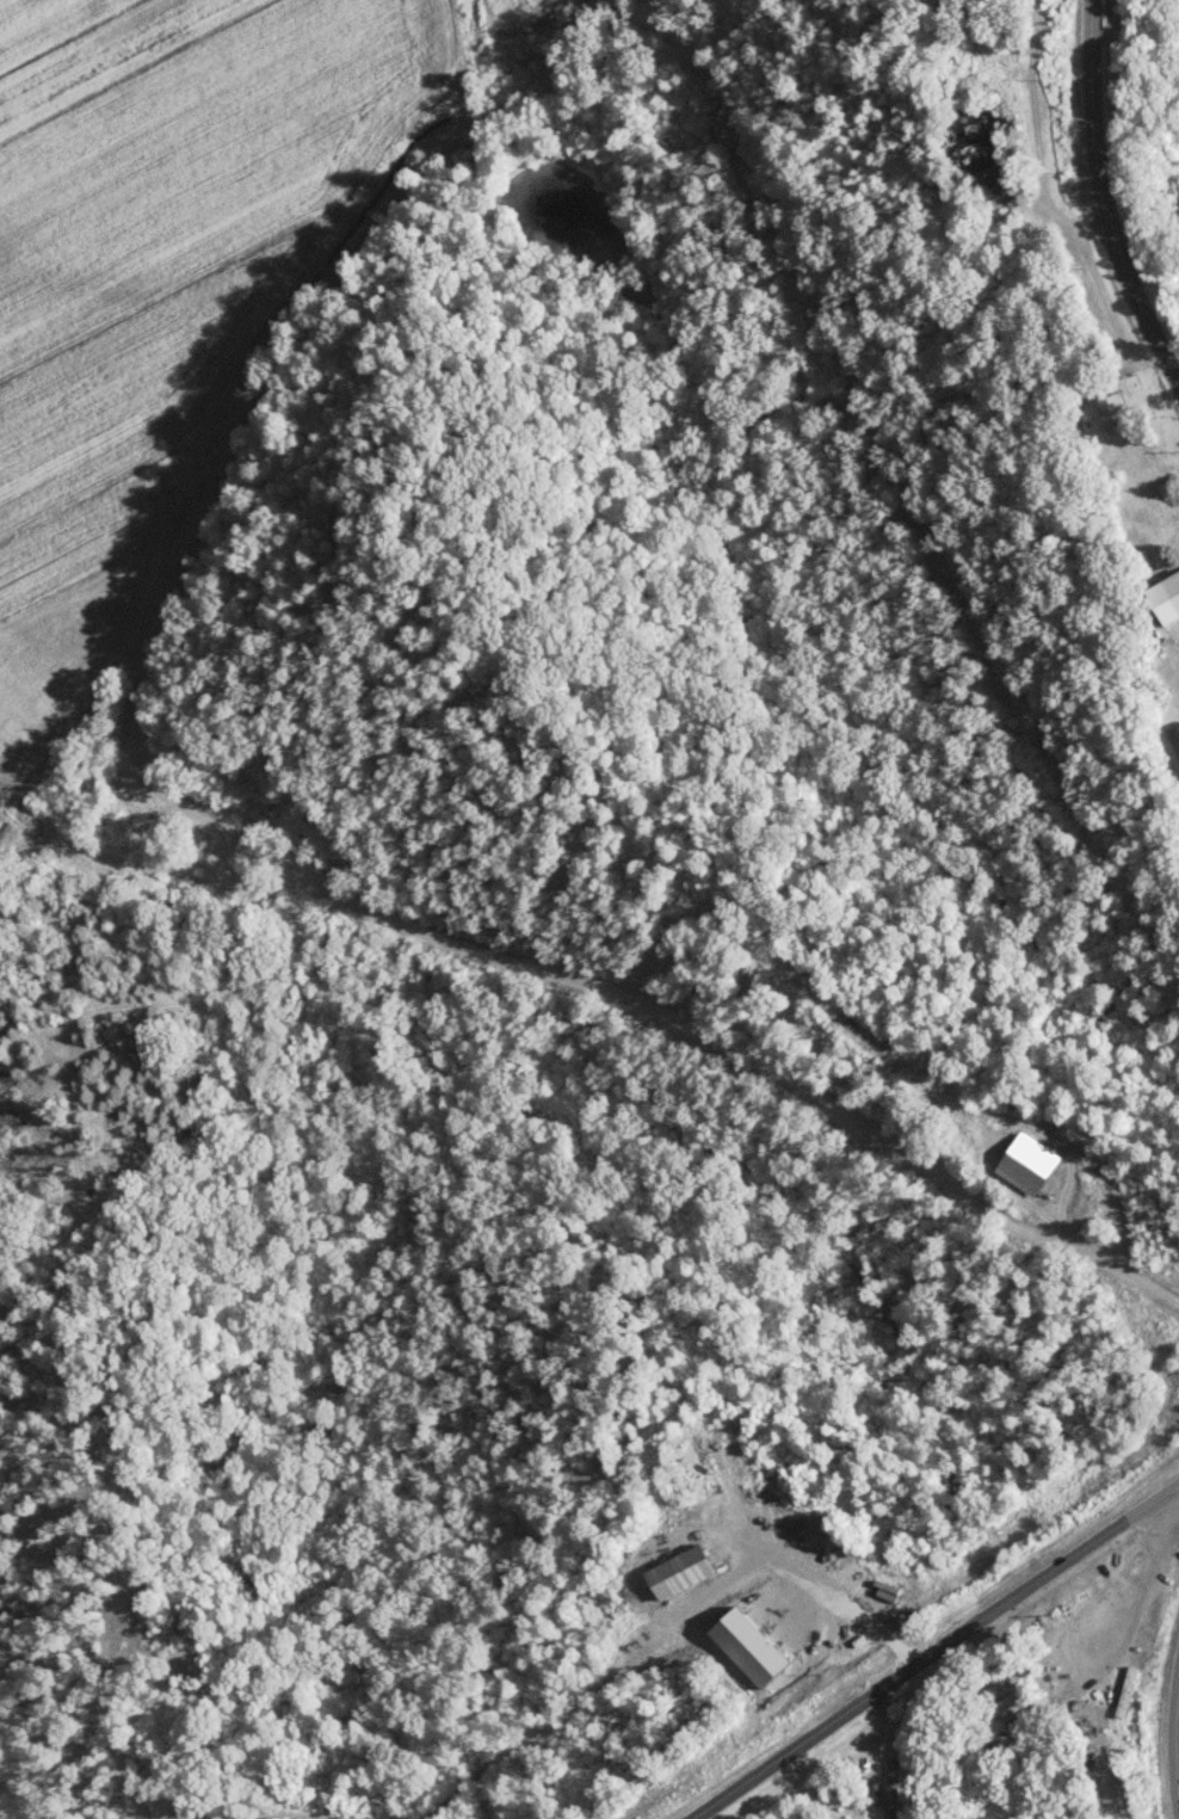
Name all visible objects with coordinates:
crop: (42, 21)
crop: (516, 49)
road: (1101, 197)
crop: (169, 302)
building: (1111, 409)
building: (1173, 586)
building: (1175, 734)
building: (261, 1025)
building: (2, 1030)
road: (807, 1093)
building: (1026, 1163)
road: (931, 1648)
building: (1005, 1706)
road: (1172, 1738)
building: (890, 1787)

